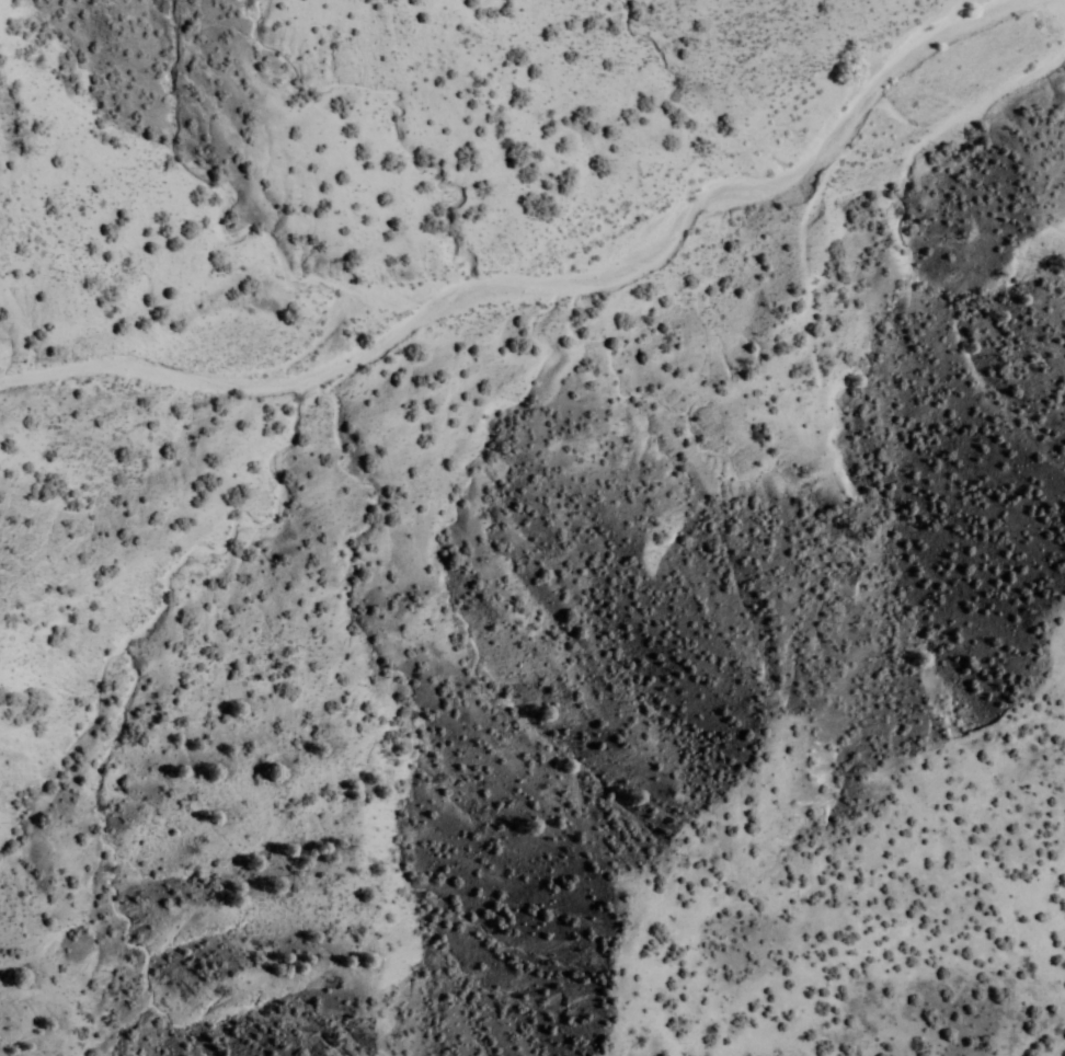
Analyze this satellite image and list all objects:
road: (860, 119)

